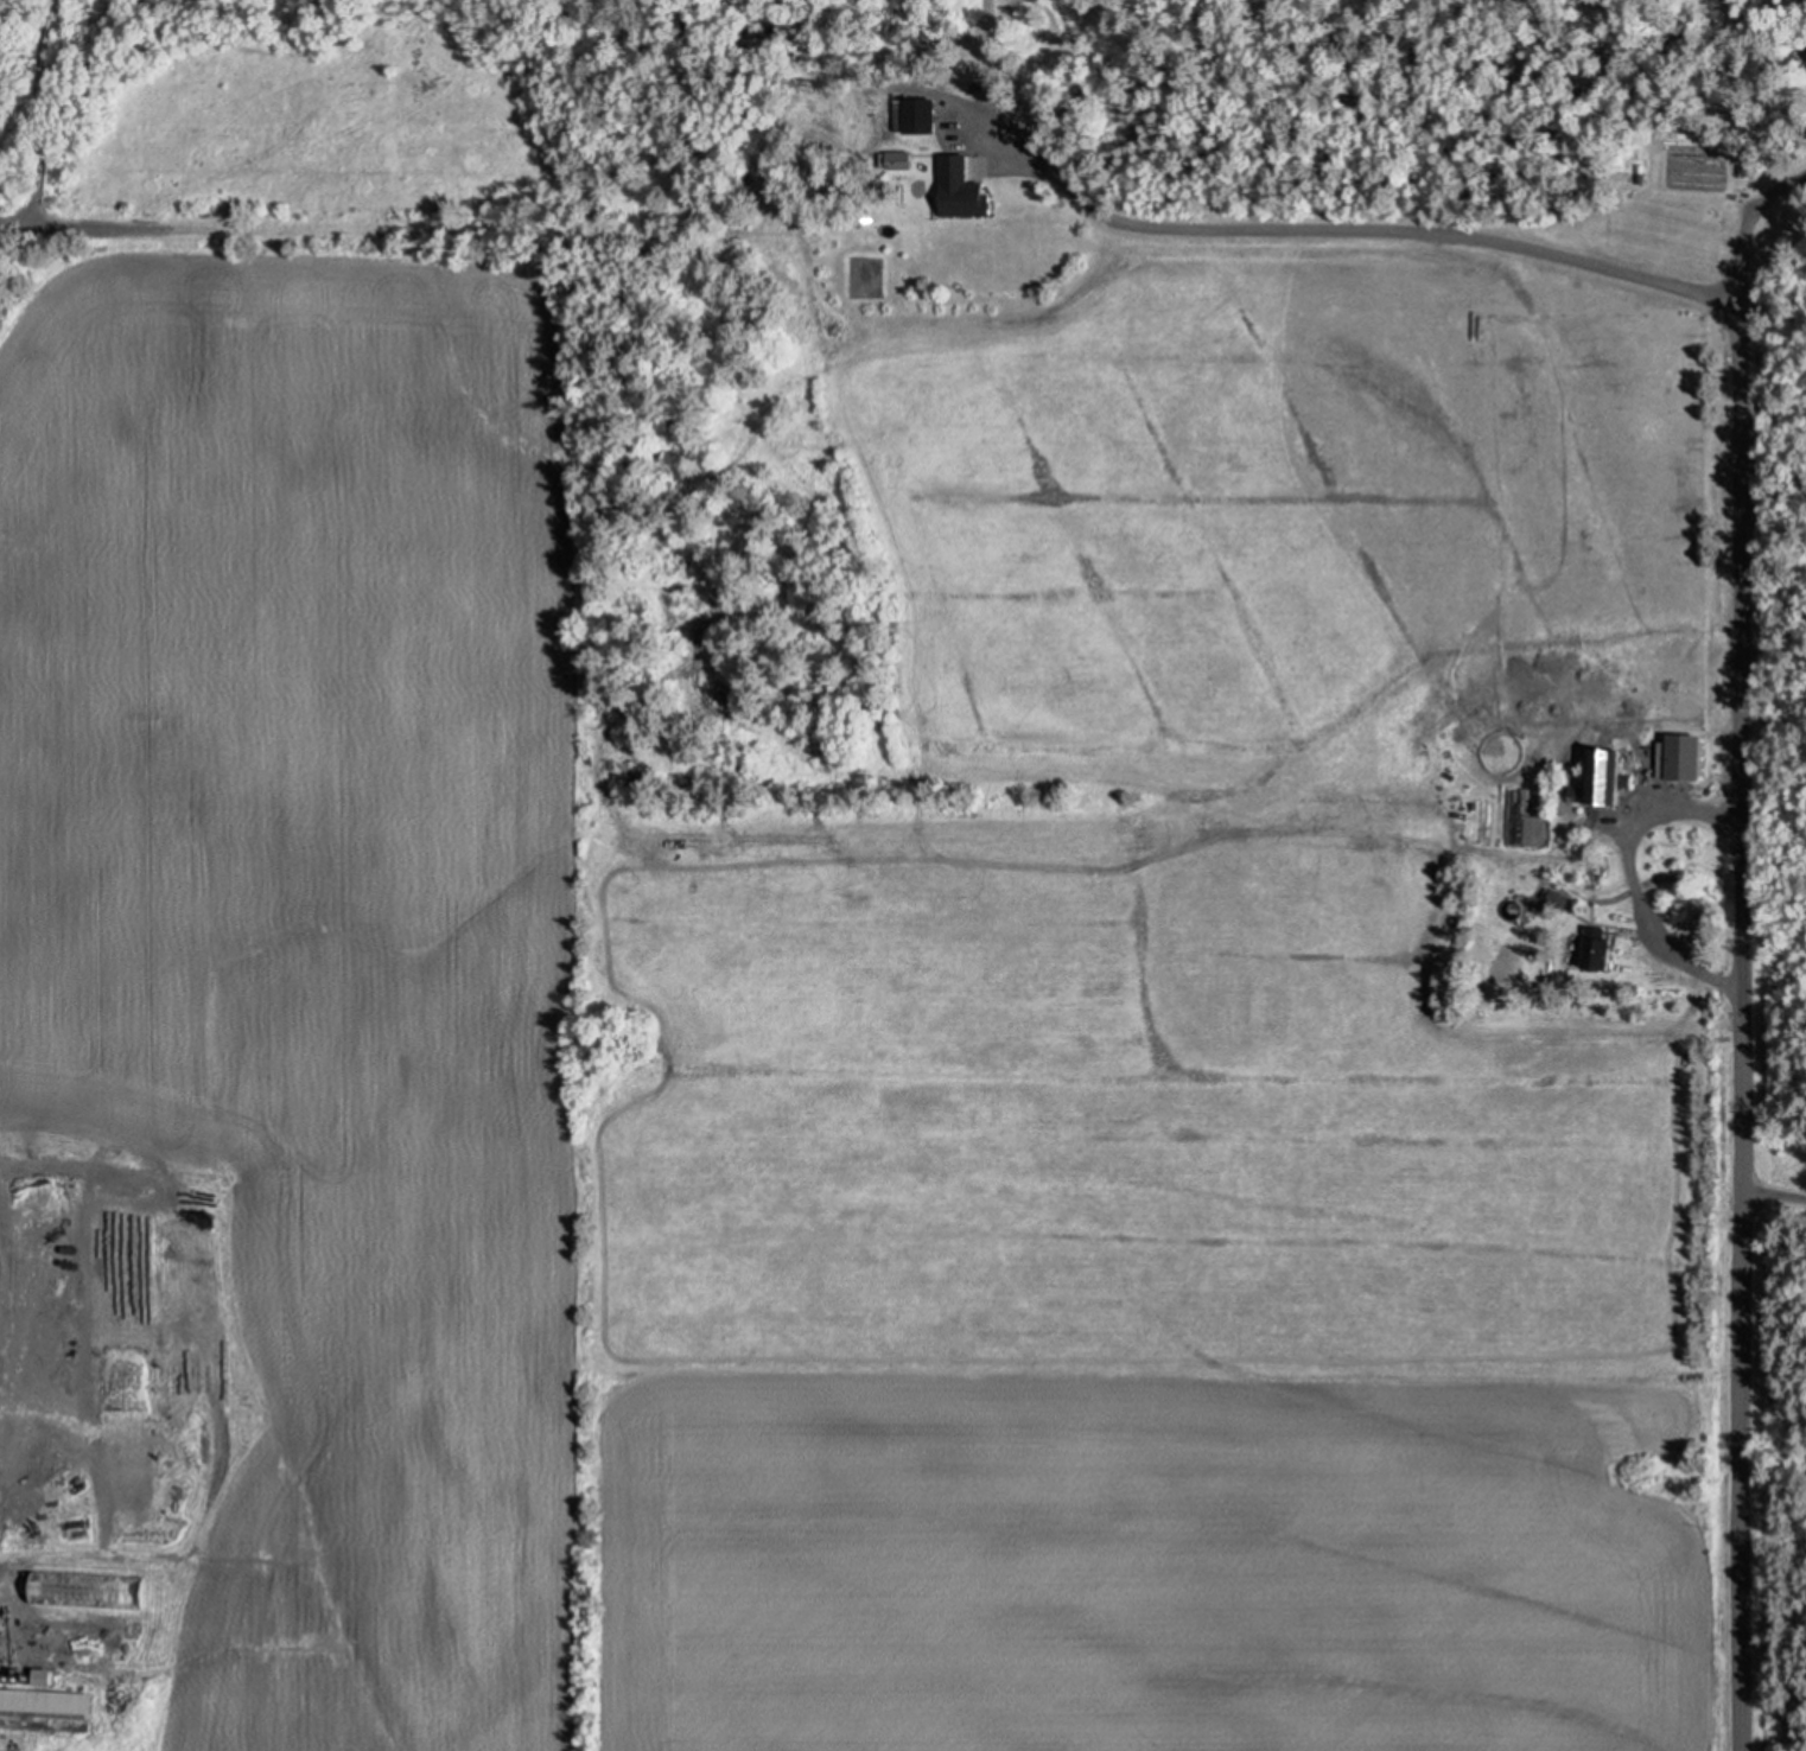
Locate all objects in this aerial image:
road: (21, 34)
building: (917, 114)
building: (903, 158)
building: (964, 187)
road: (1368, 234)
building: (1683, 757)
building: (1604, 777)
building: (1579, 792)
road: (1742, 945)
building: (1598, 947)
building: (45, 1702)

